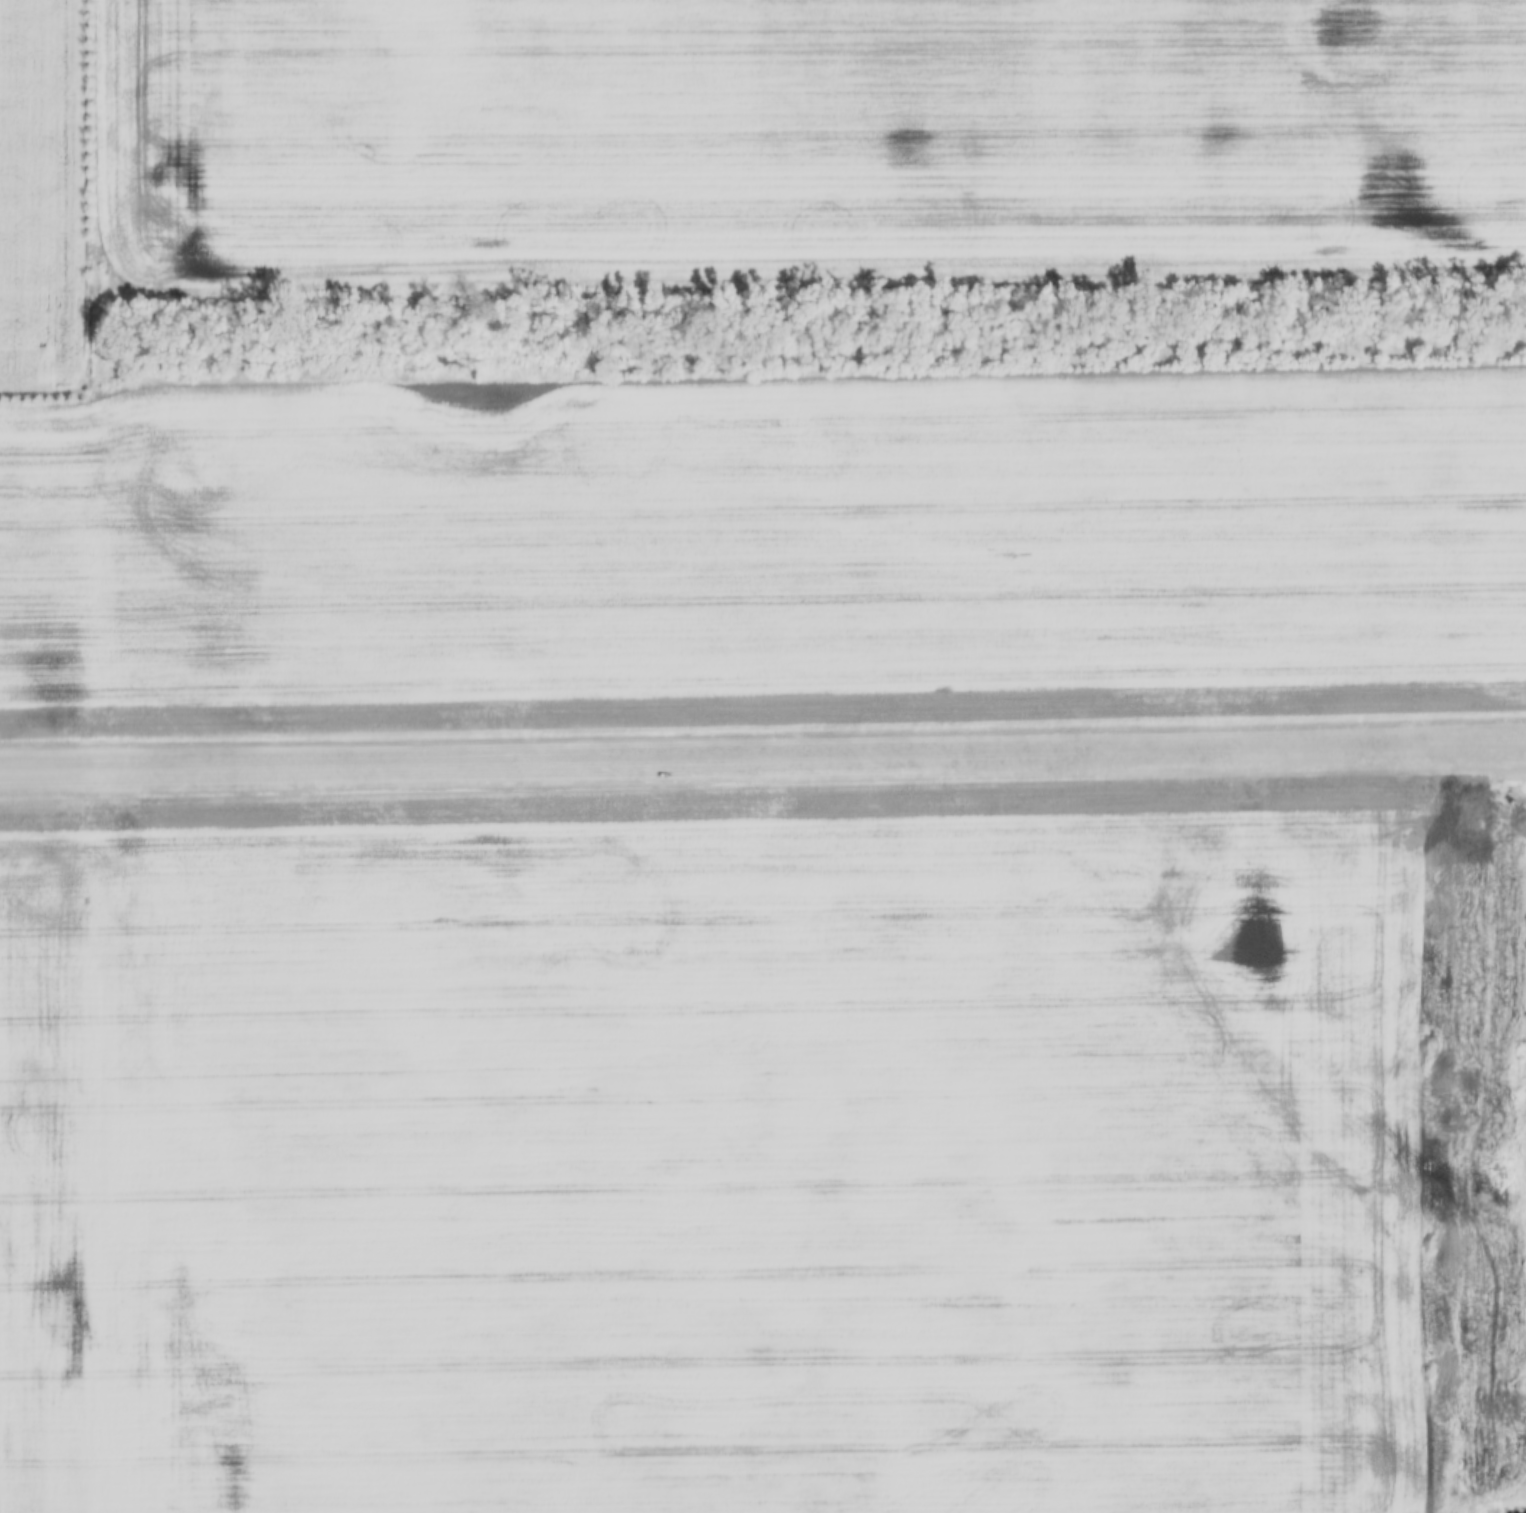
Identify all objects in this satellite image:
road: (831, 273)
airport runway: (763, 758)

